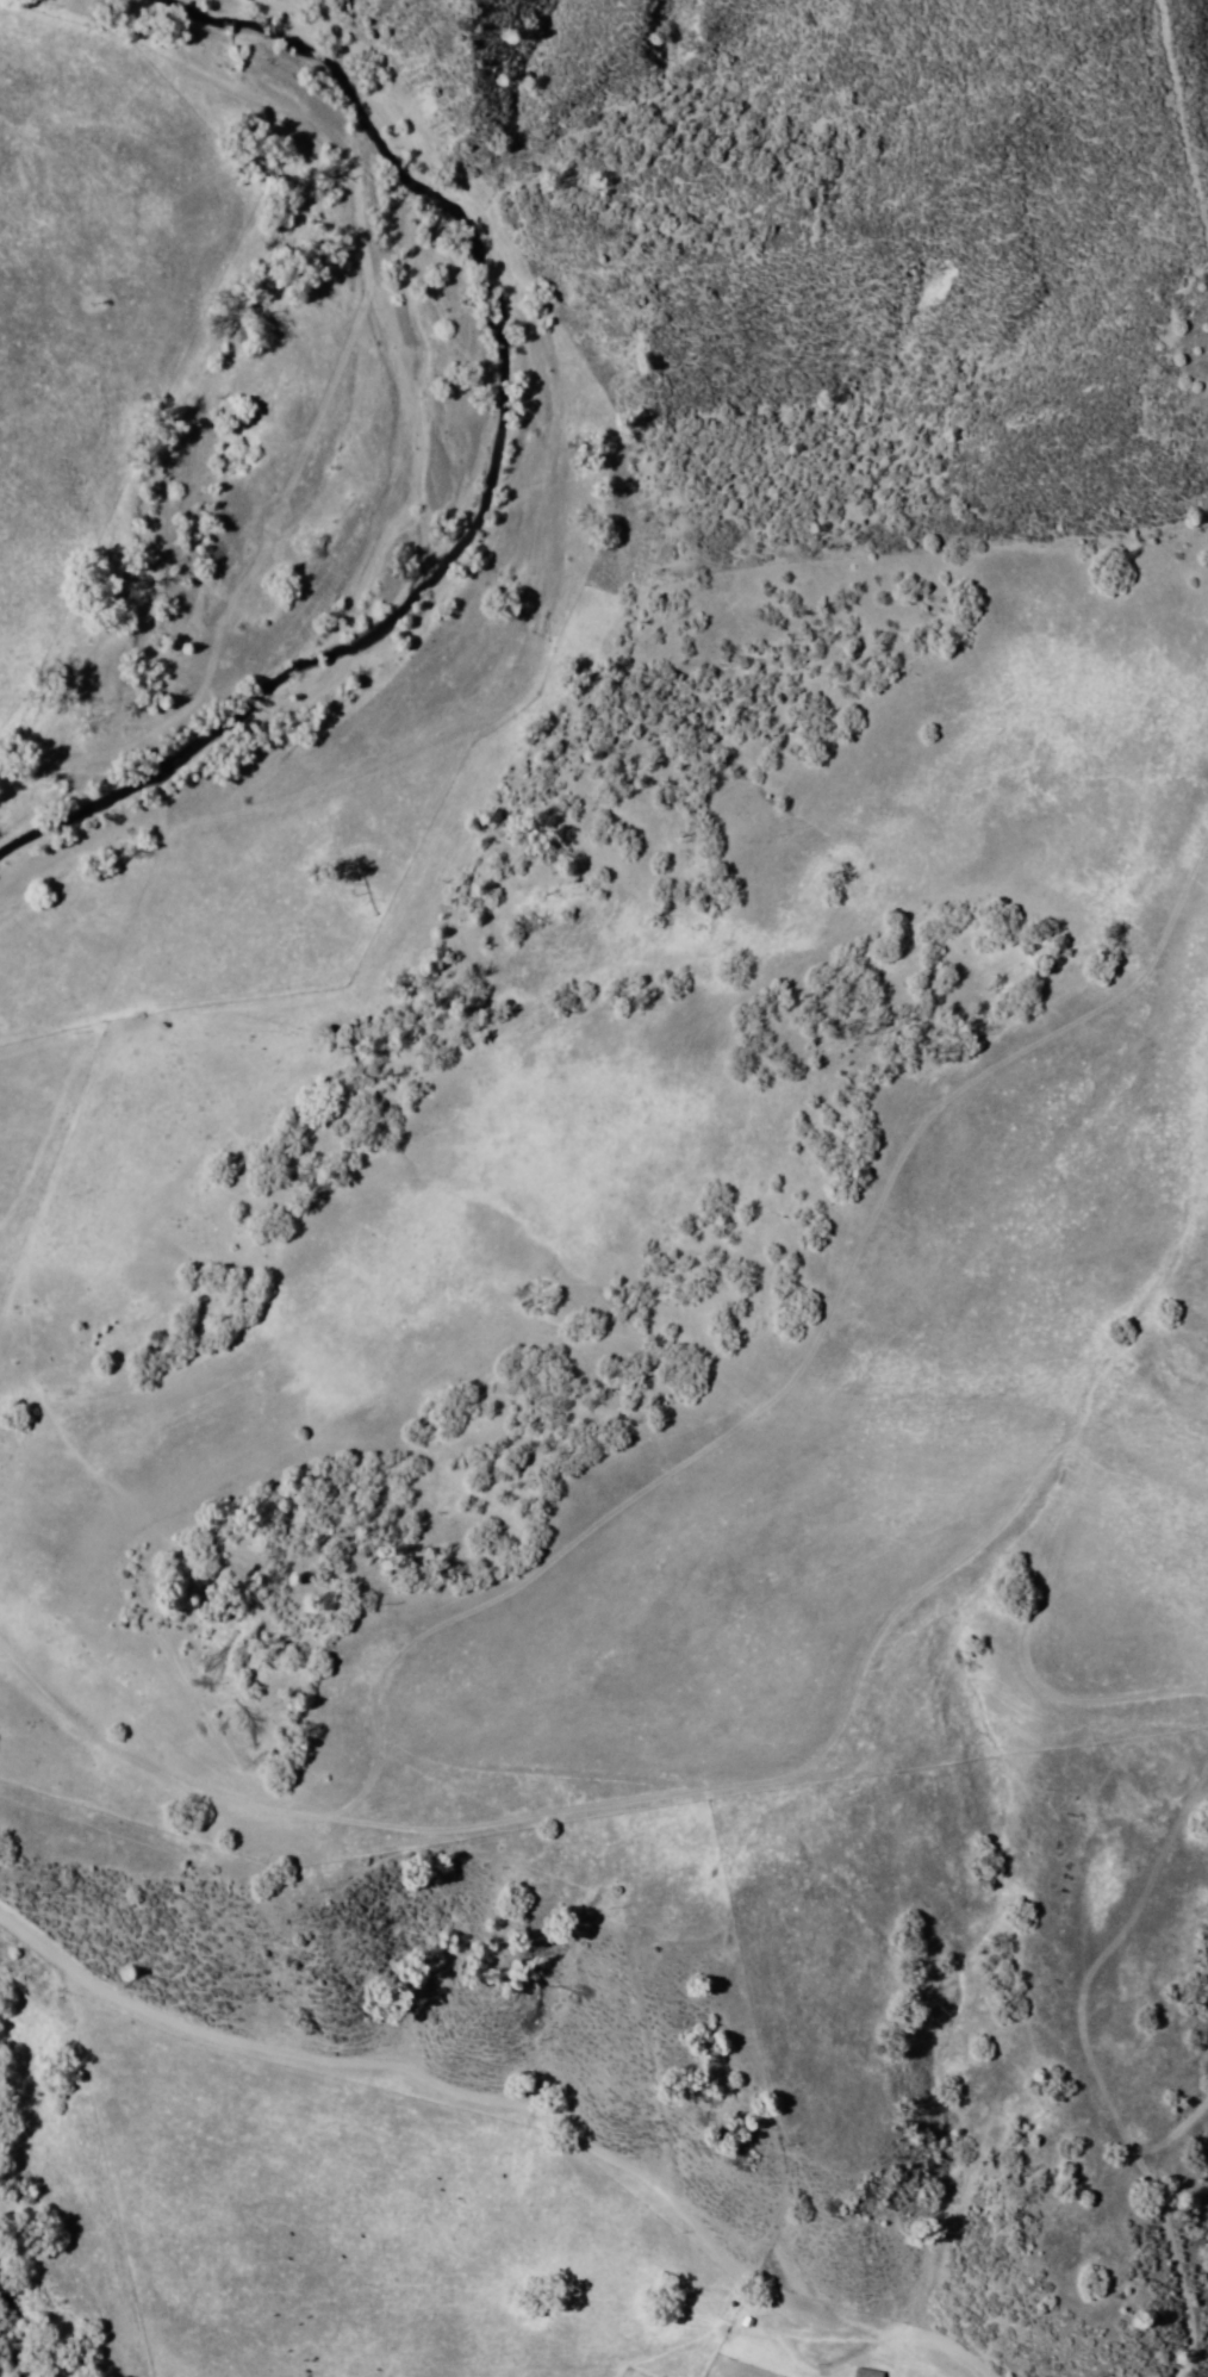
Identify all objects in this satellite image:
road: (932, 2359)
building: (863, 2373)

